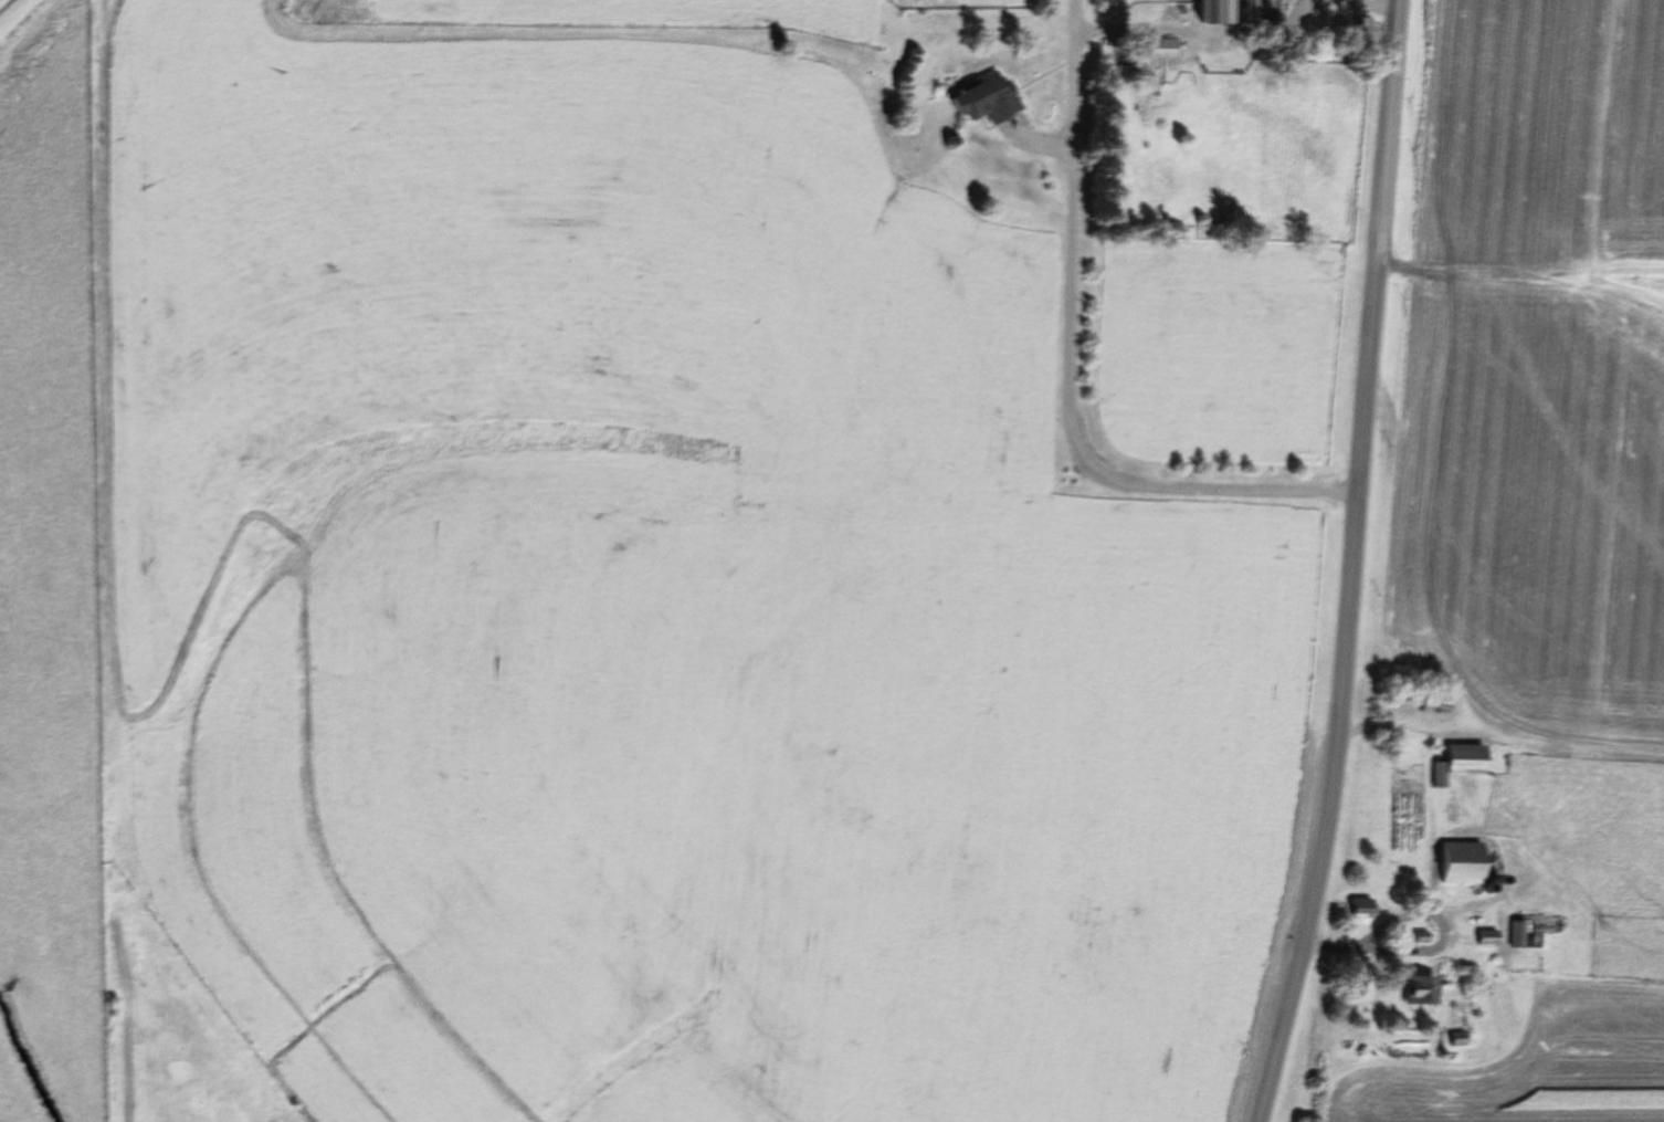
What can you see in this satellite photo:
building: (1219, 11)
building: (992, 98)
road: (1351, 564)
building: (1468, 761)
building: (1465, 863)
building: (1363, 910)
building: (1424, 992)
building: (1461, 1040)
river: (28, 1065)

